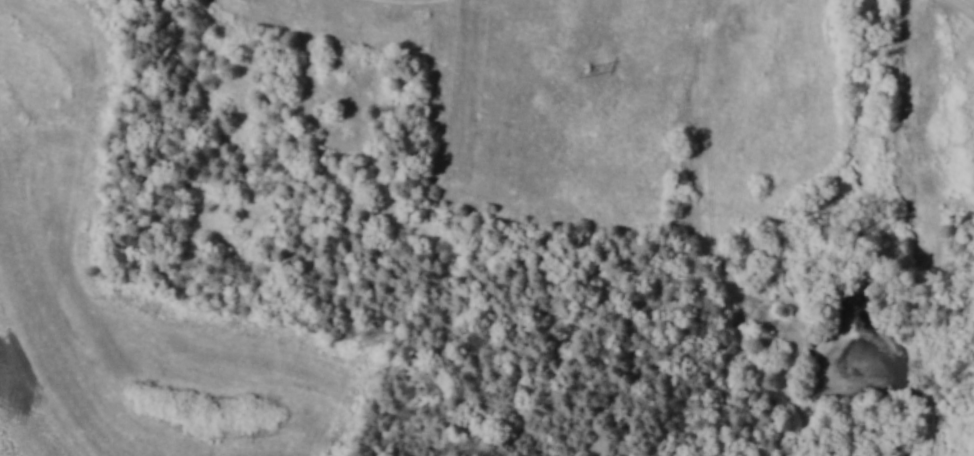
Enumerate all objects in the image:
power tower: (583, 72)

